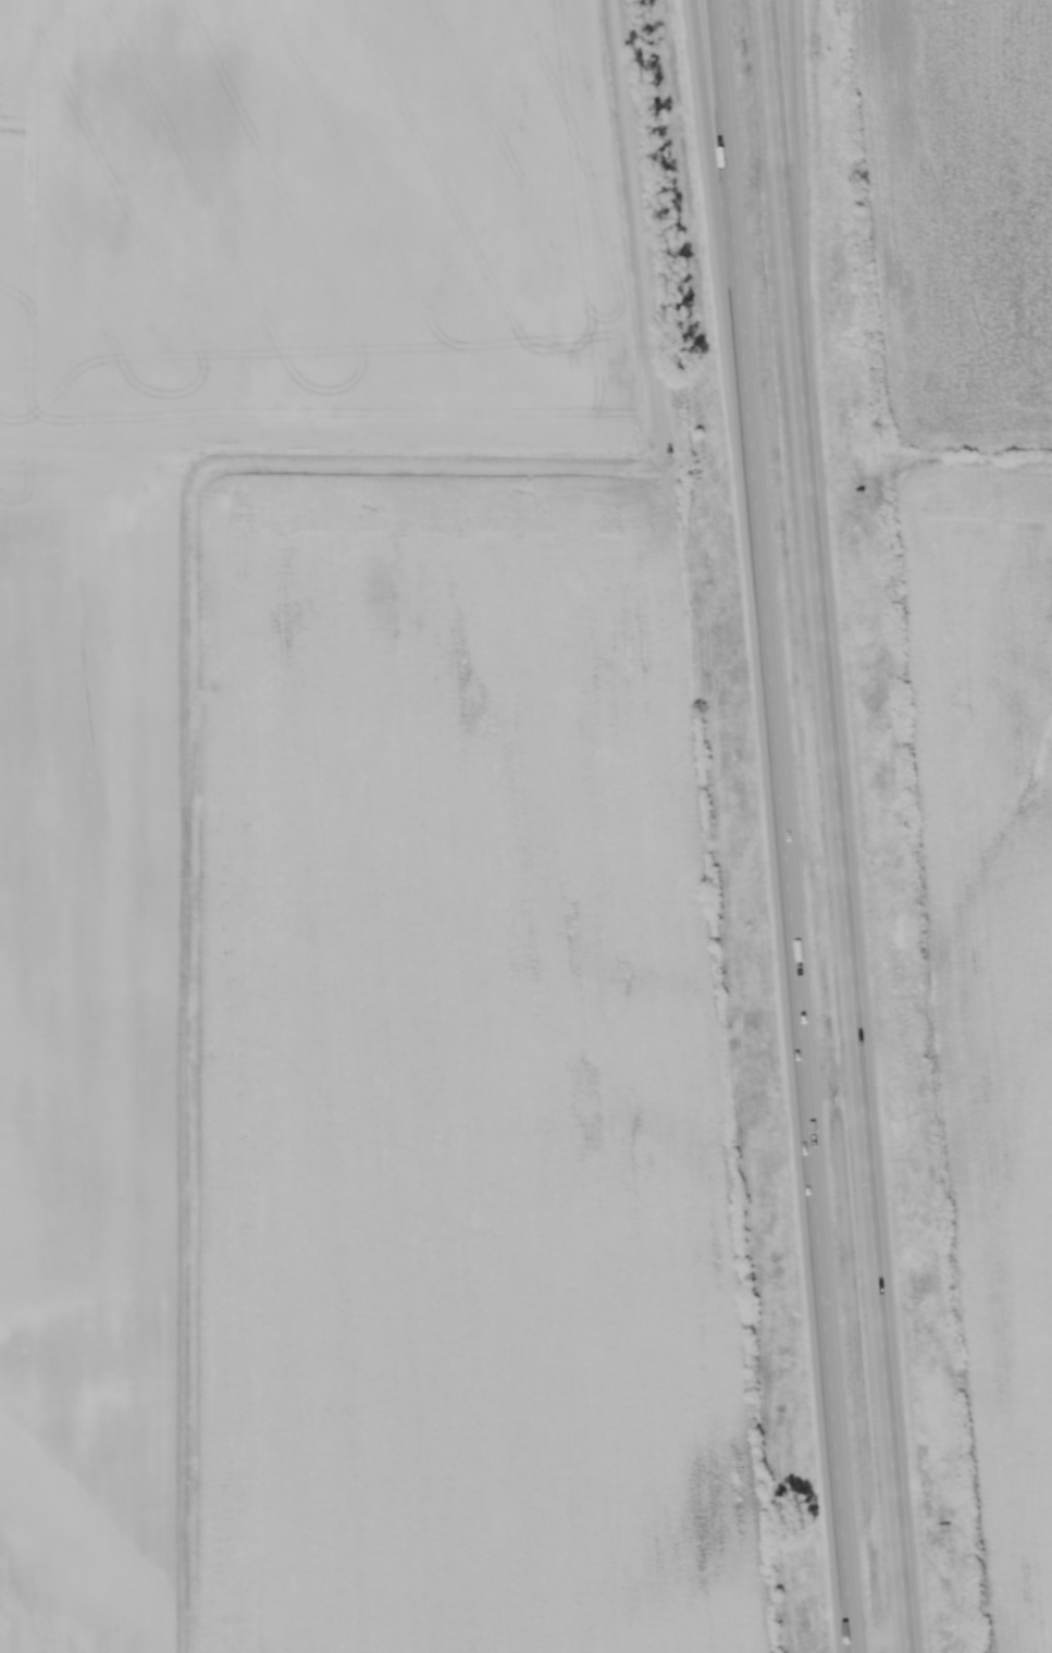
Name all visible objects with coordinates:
road: (697, 69)
road: (780, 84)
road: (776, 826)
road: (832, 826)

